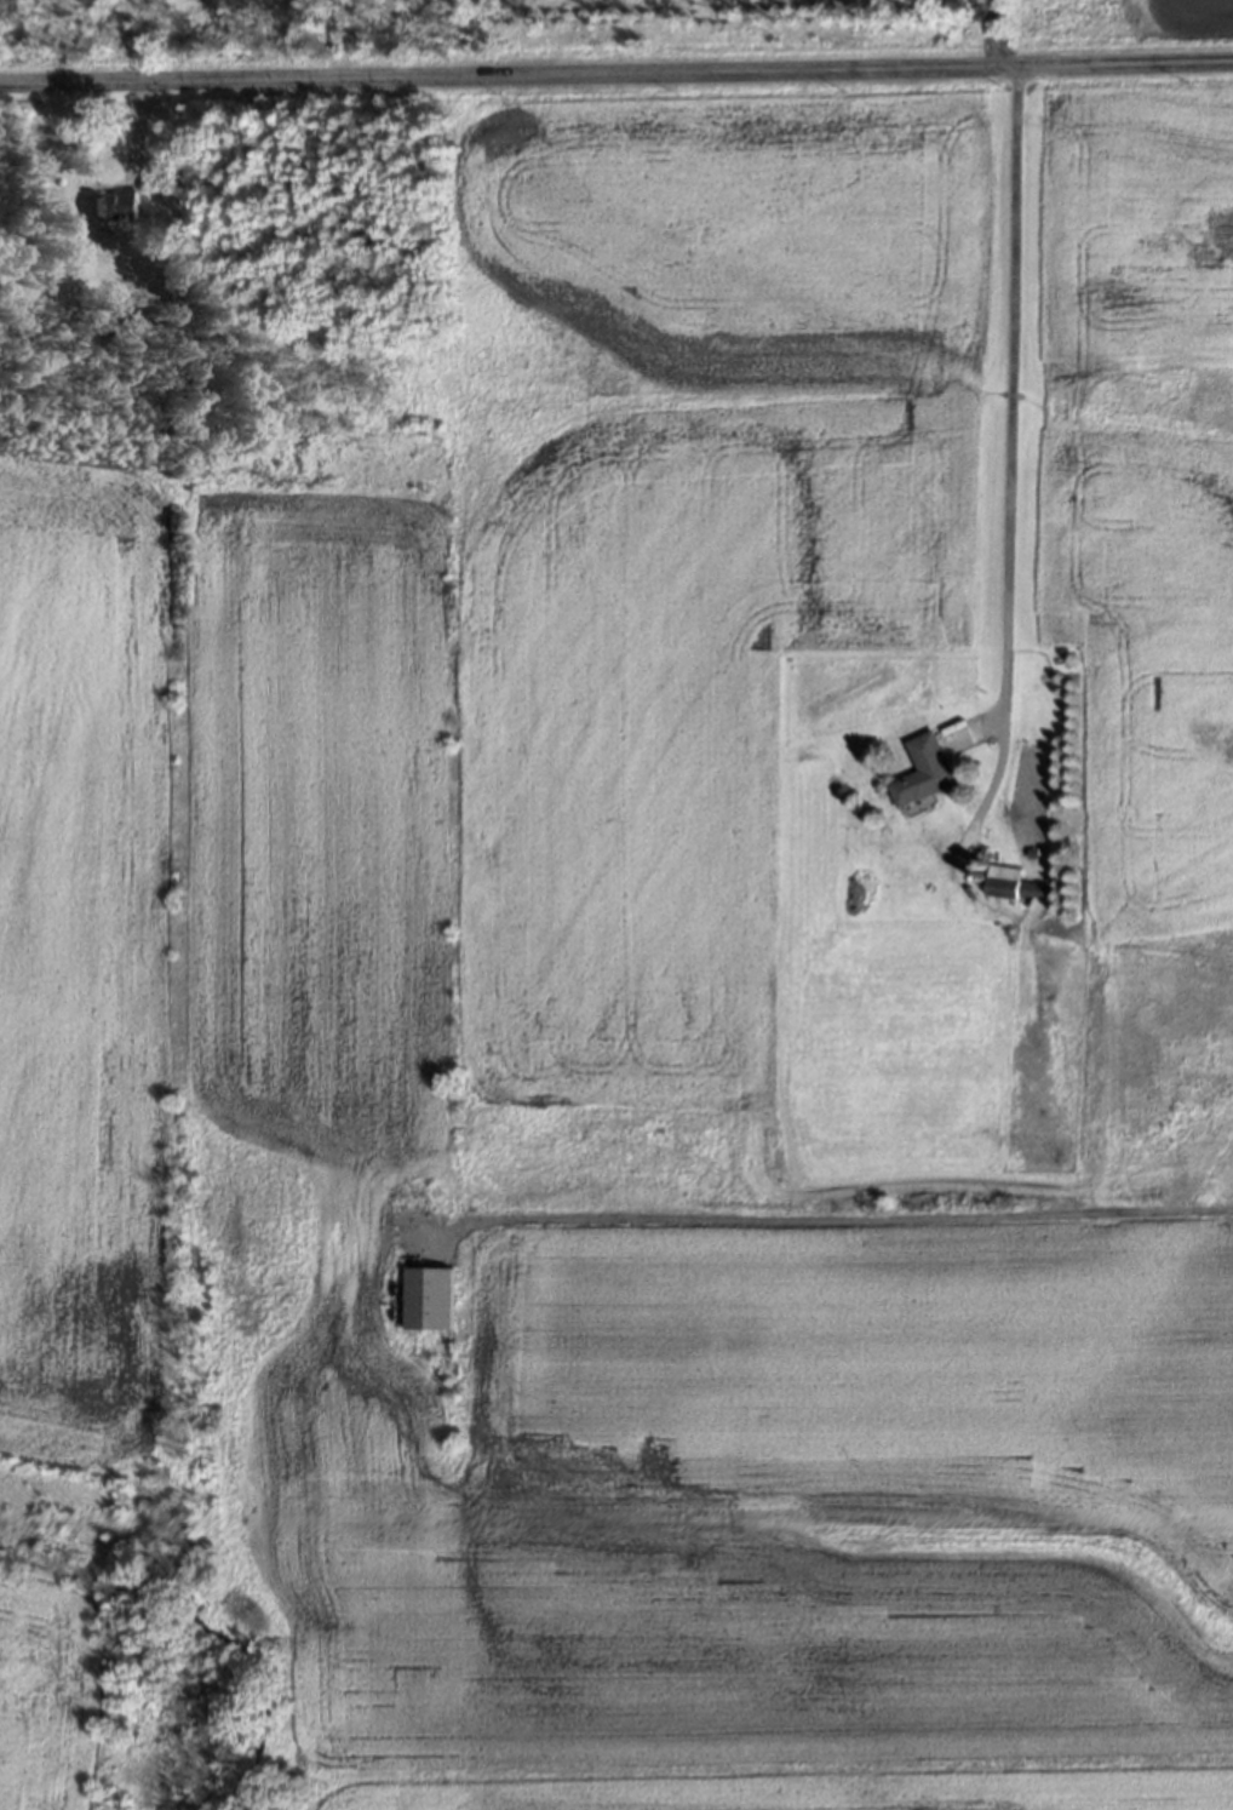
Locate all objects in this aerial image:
road: (990, 30)
road: (616, 71)
building: (110, 204)
road: (1004, 491)
building: (921, 769)
building: (1007, 883)
road: (821, 1218)
building: (426, 1296)

